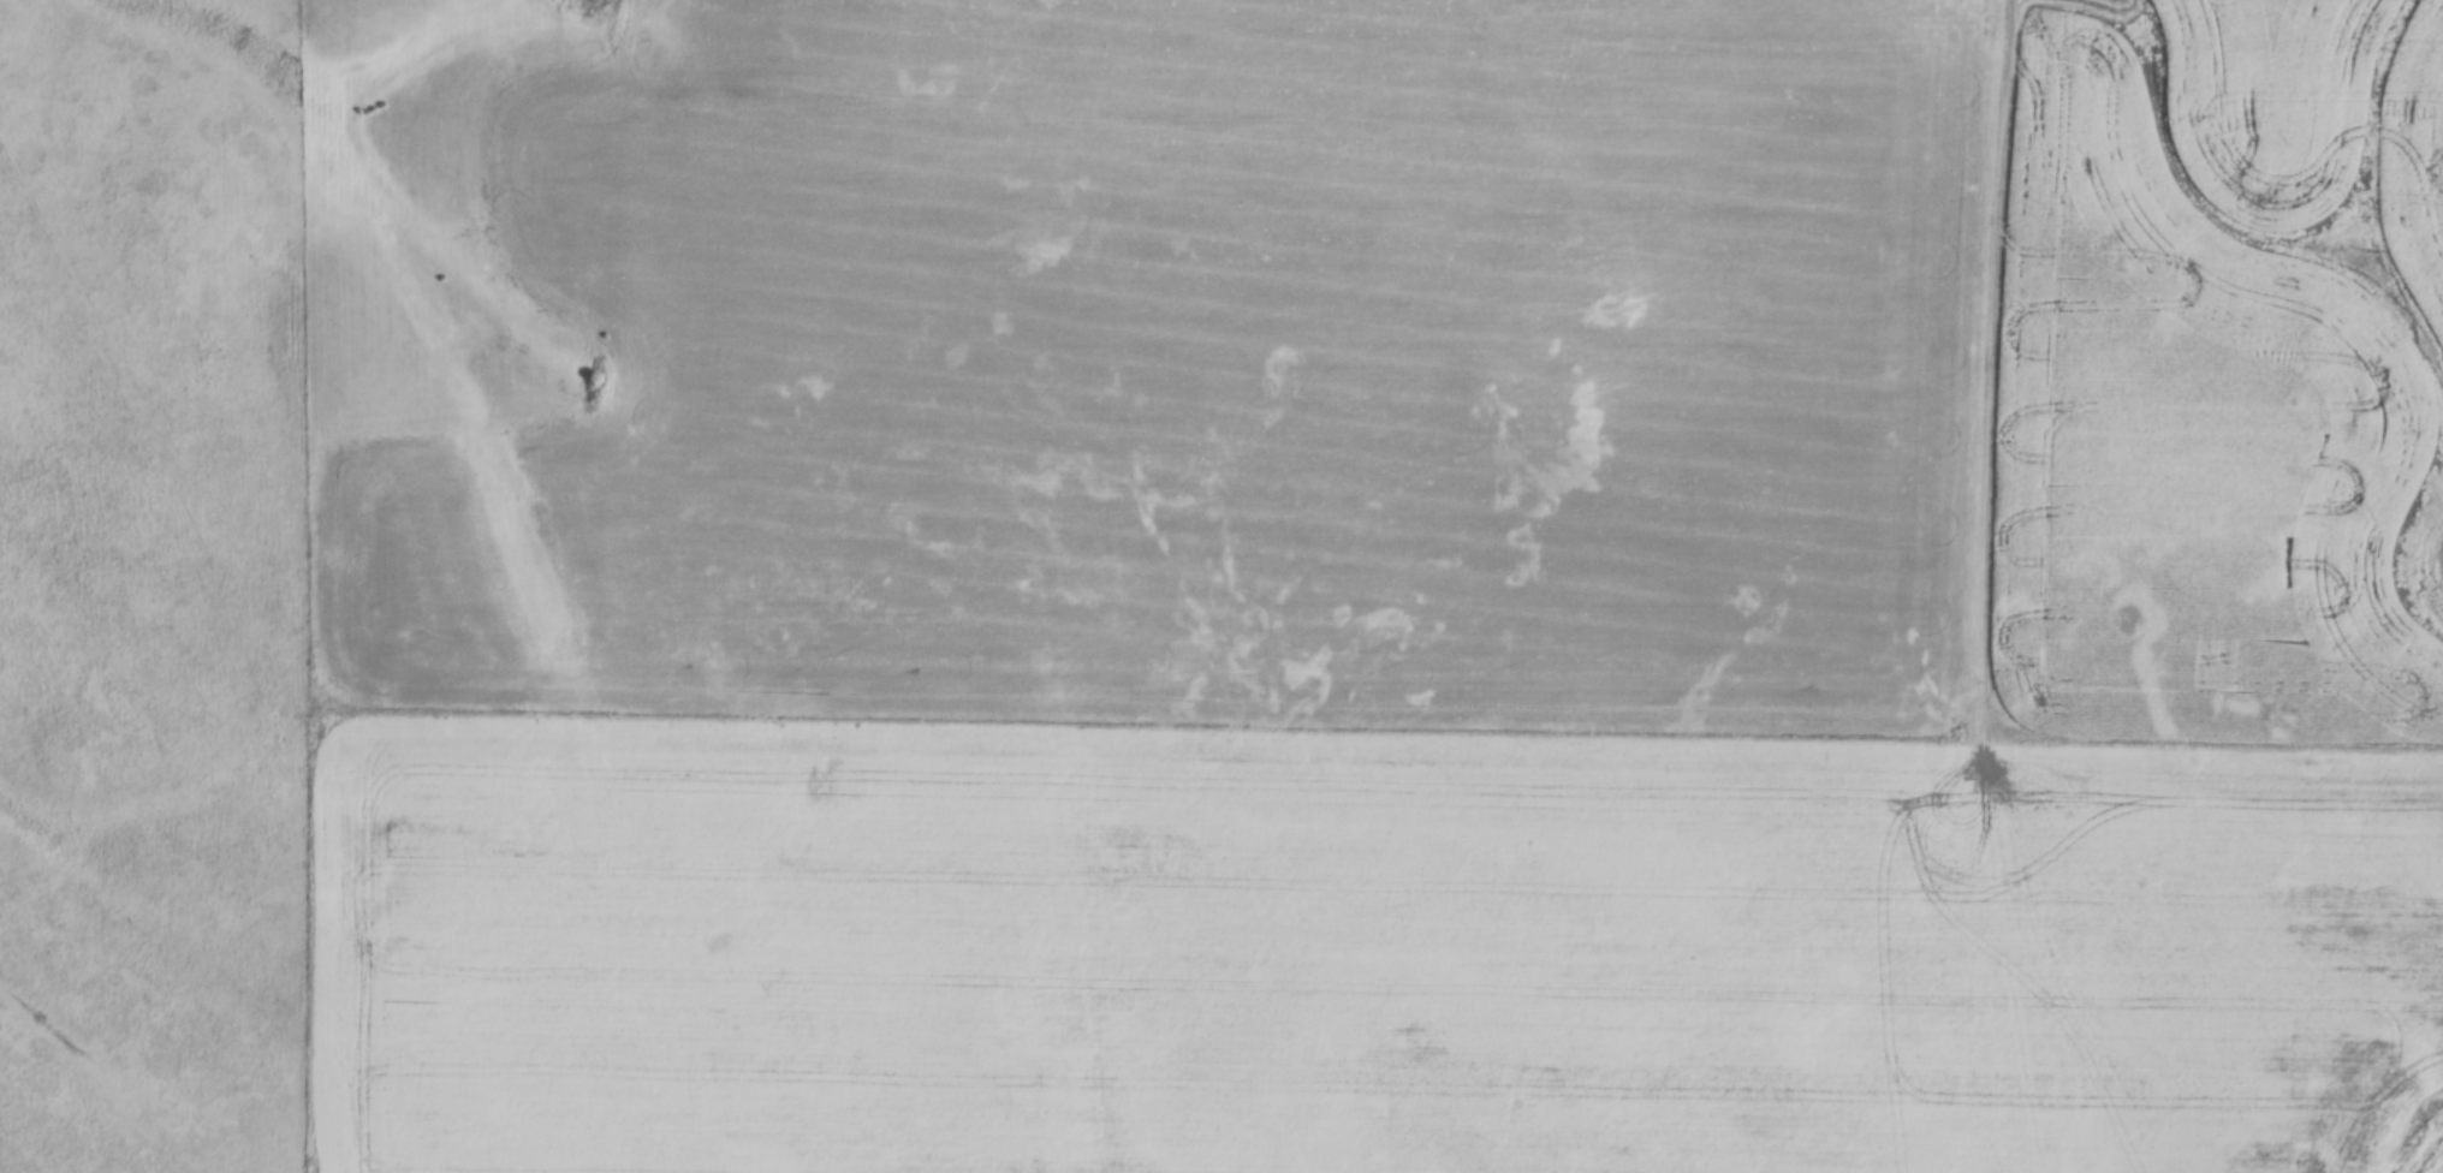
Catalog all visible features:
road: (1993, 383)

